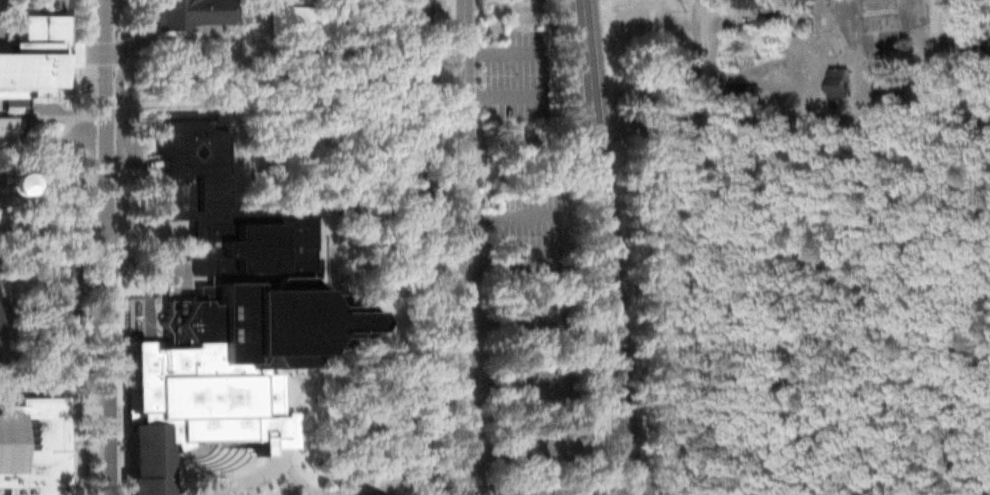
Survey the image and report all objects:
building: (752, 4)
road: (12, 6)
building: (180, 12)
building: (414, 17)
building: (306, 18)
building: (765, 22)
road: (239, 34)
building: (32, 51)
road: (786, 54)
road: (705, 58)
road: (932, 59)
road: (537, 71)
parking lot: (515, 72)
building: (409, 82)
building: (836, 83)
road: (288, 88)
building: (740, 95)
road: (191, 104)
road: (105, 111)
road: (66, 117)
building: (635, 119)
road: (960, 119)
road: (823, 125)
road: (340, 127)
building: (415, 144)
road: (591, 144)
road: (38, 167)
road: (66, 170)
road: (505, 218)
road: (785, 221)
road: (52, 222)
parking lot: (531, 222)
road: (333, 223)
road: (450, 247)
road: (463, 247)
road: (603, 247)
road: (14, 263)
building: (61, 275)
building: (230, 308)
parking lot: (526, 313)
park: (807, 313)
road: (499, 315)
building: (63, 323)
building: (1, 327)
building: (144, 333)
road: (413, 357)
road: (108, 359)
road: (352, 363)
building: (66, 367)
road: (505, 384)
parking lot: (535, 386)
road: (292, 403)
building: (33, 447)
road: (505, 447)
parking lot: (536, 449)
building: (144, 460)
road: (268, 465)
road: (199, 475)
road: (388, 478)
building: (427, 487)

